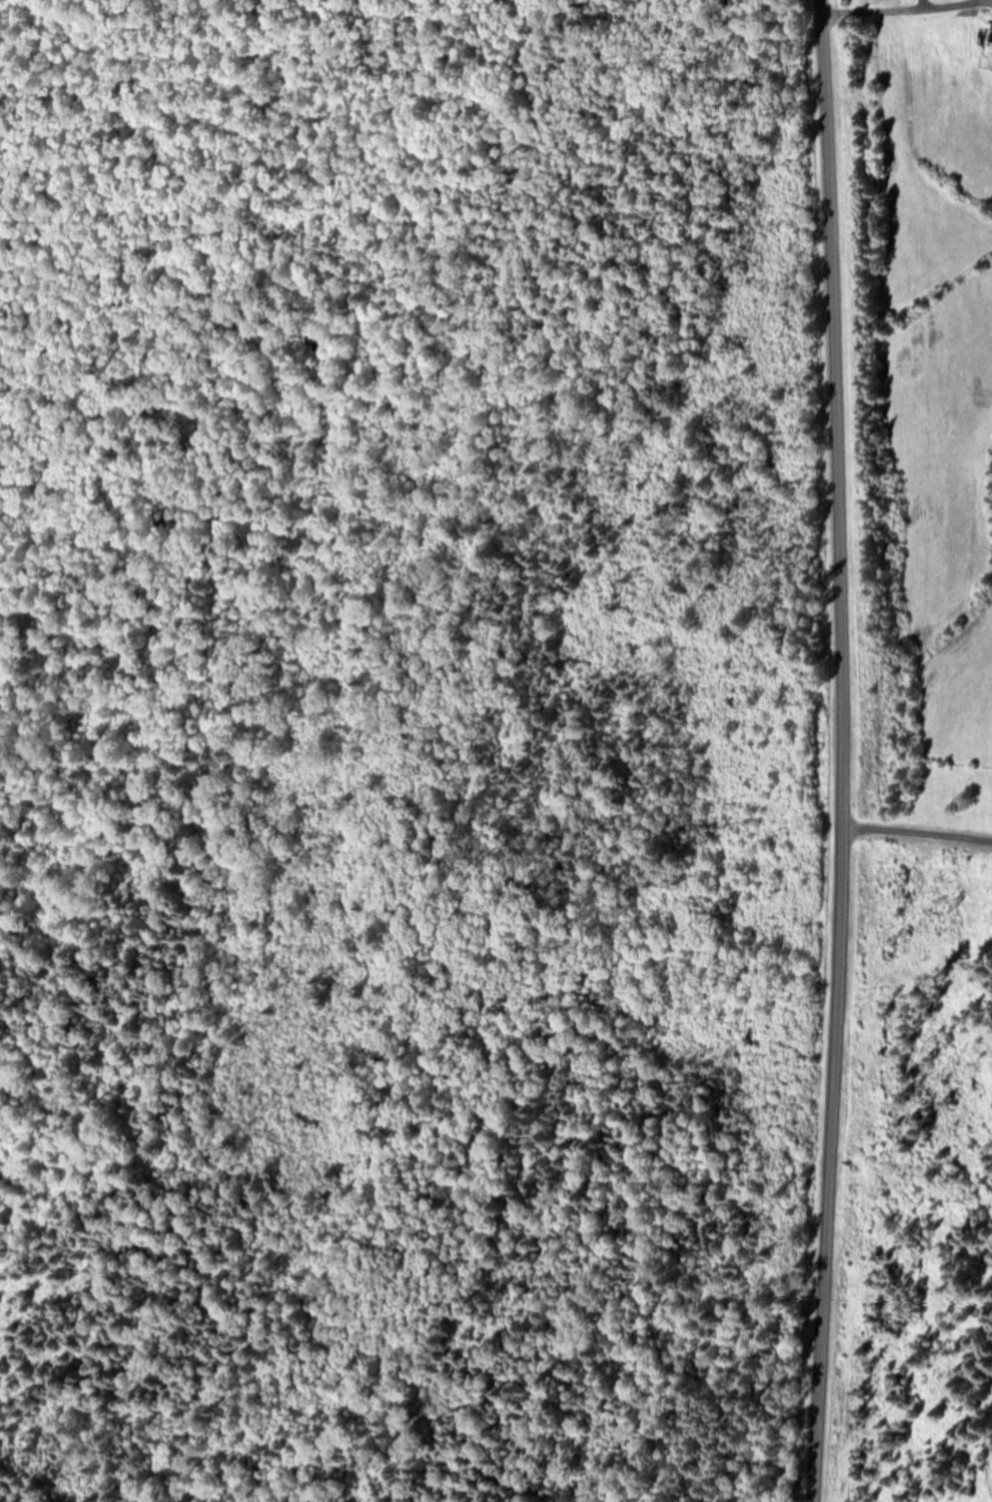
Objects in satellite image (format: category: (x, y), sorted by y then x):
road: (906, 13)
road: (842, 751)
road: (918, 845)

